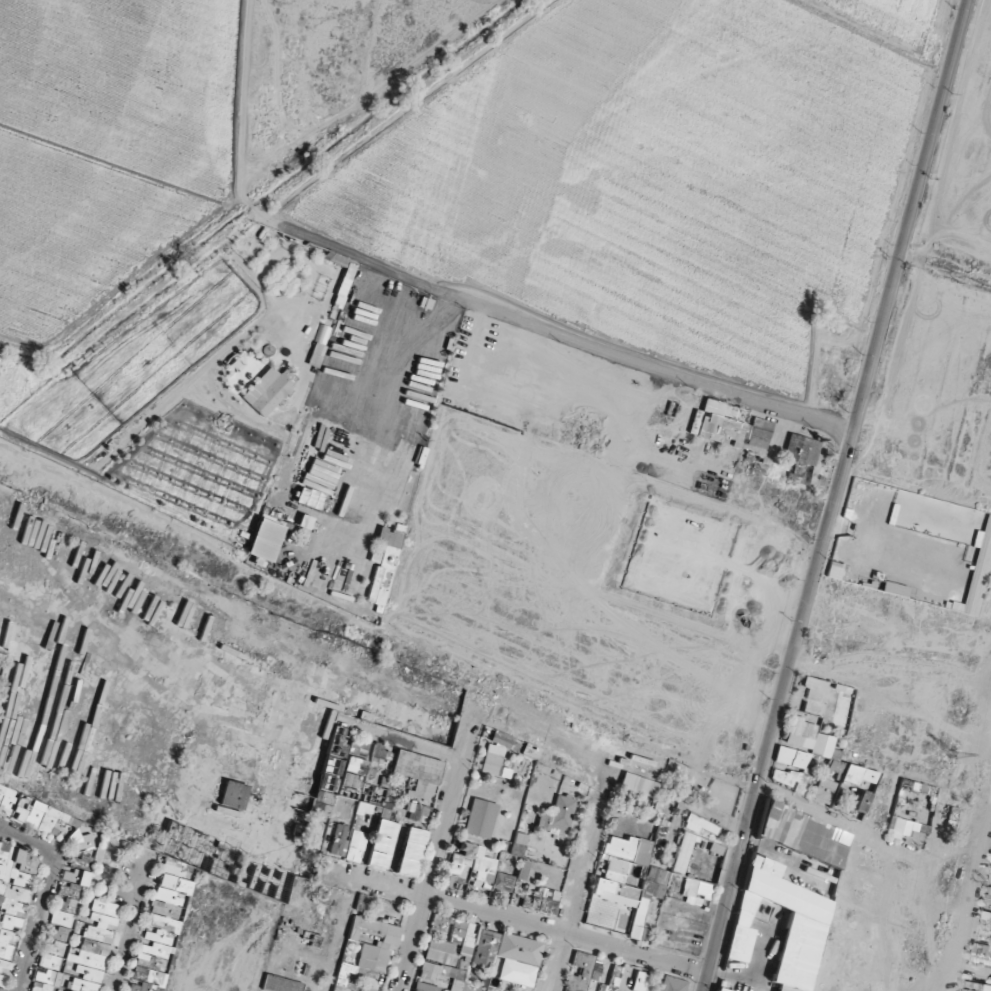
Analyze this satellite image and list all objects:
crop: (100, 150)
crop: (658, 168)
crop: (133, 370)
road: (835, 495)

